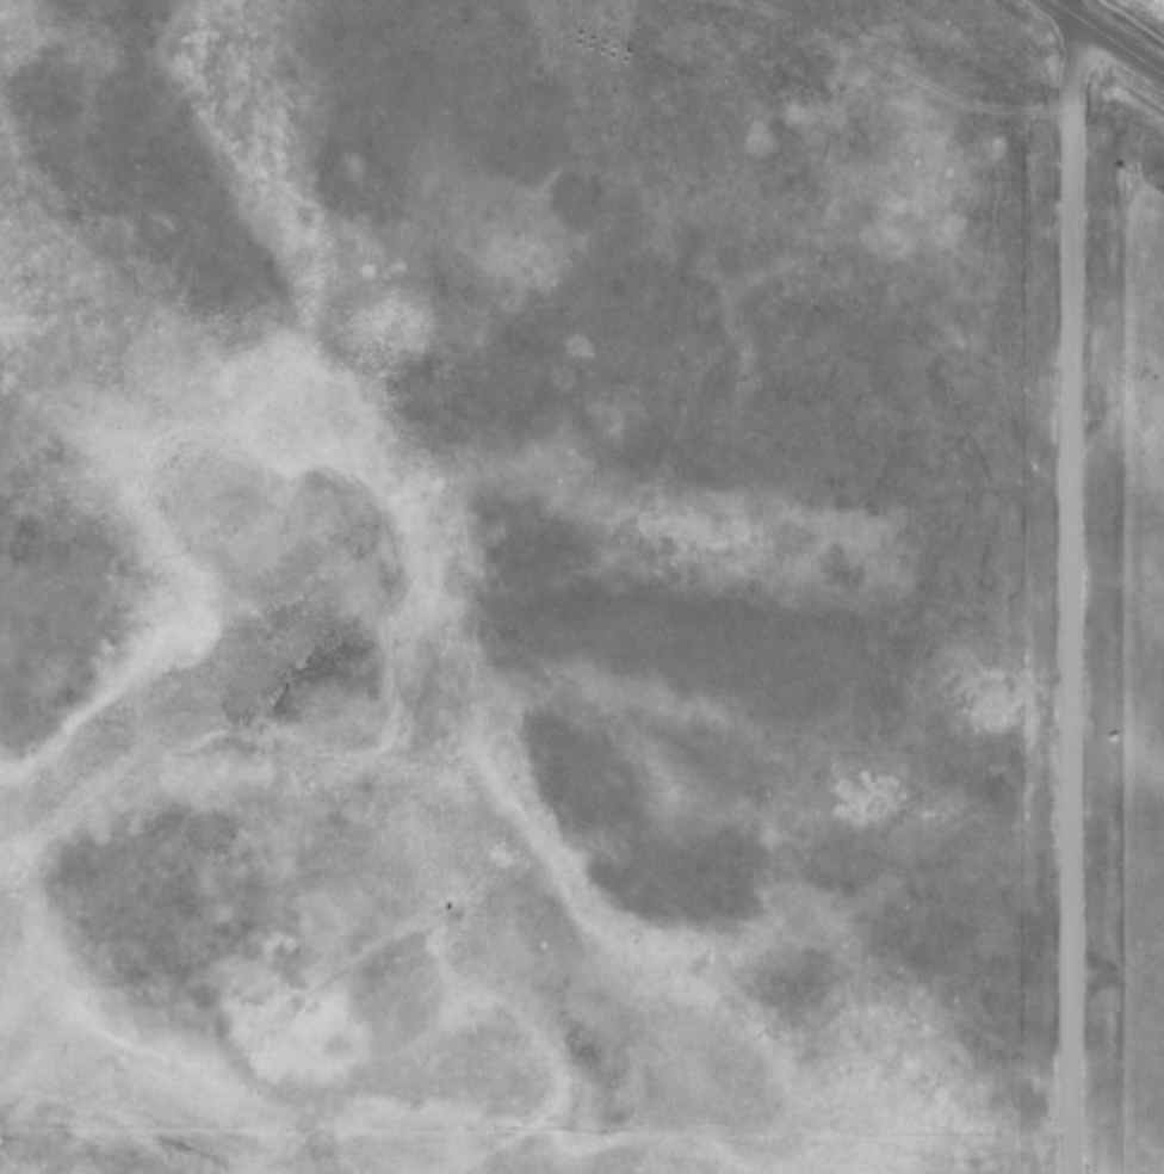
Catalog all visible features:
road: (1070, 2)
road: (1114, 33)
road: (1073, 588)

